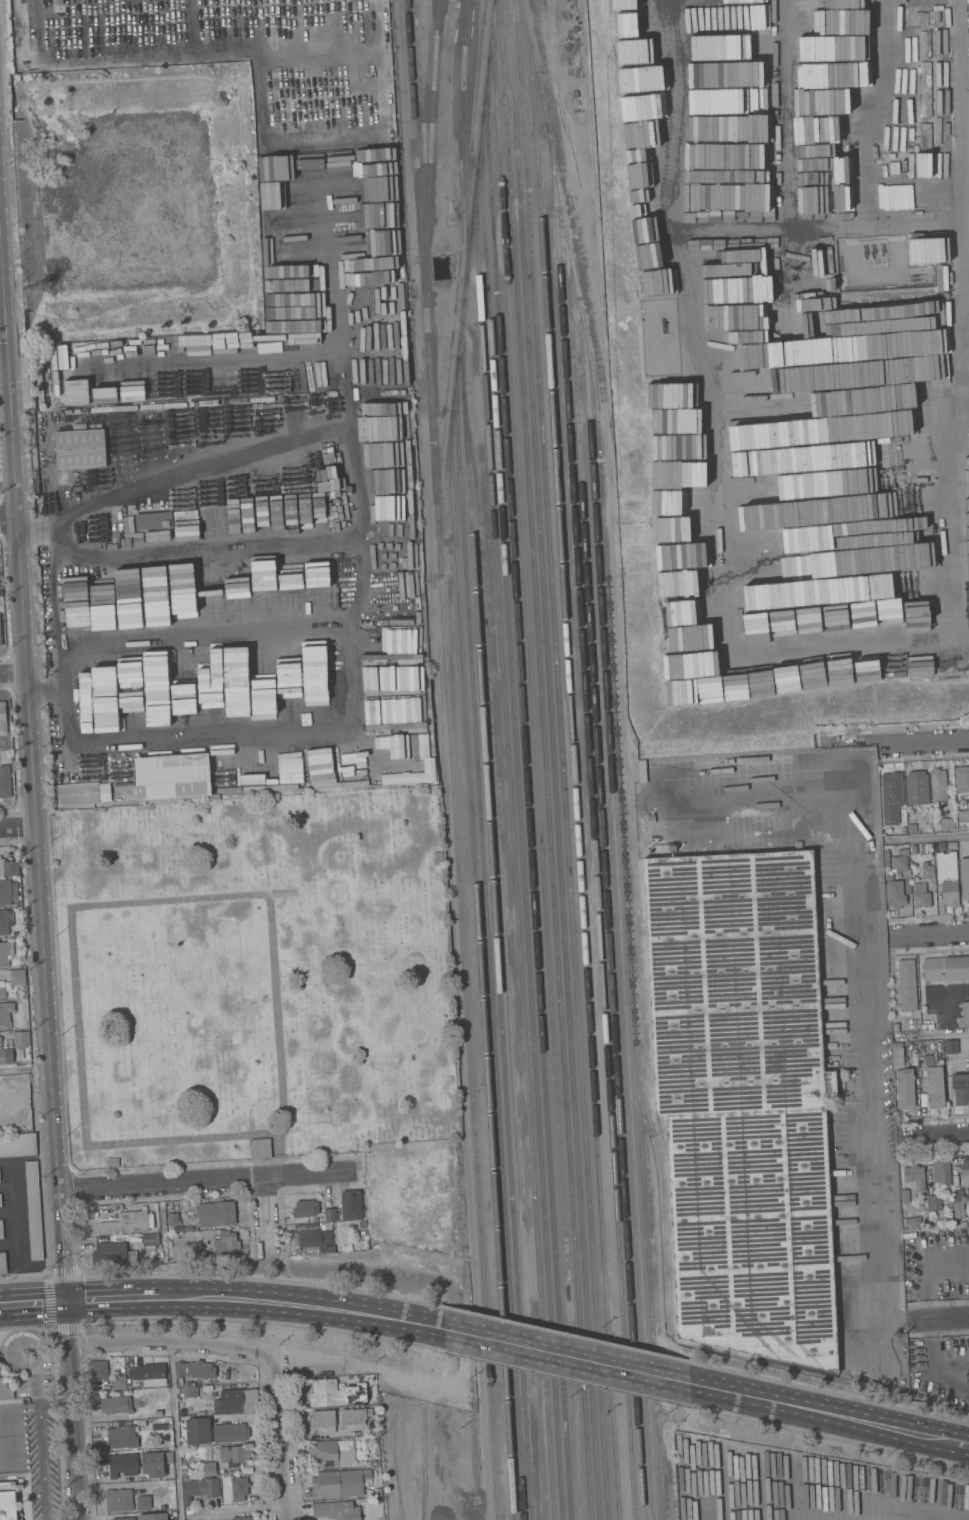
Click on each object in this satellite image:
building: (617, 4)
railway: (468, 13)
building: (936, 16)
building: (921, 18)
railway: (423, 96)
railway: (430, 137)
railway: (465, 139)
railway: (466, 288)
road: (336, 300)
road: (4, 364)
building: (213, 386)
building: (814, 393)
building: (80, 448)
building: (804, 476)
road: (8, 519)
building: (153, 520)
road: (208, 549)
building: (314, 589)
railway: (530, 628)
building: (0, 634)
road: (205, 640)
road: (348, 654)
road: (8, 672)
road: (13, 673)
road: (46, 686)
building: (3, 718)
road: (924, 741)
road: (13, 749)
railway: (619, 757)
railway: (563, 759)
railway: (453, 760)
railway: (547, 760)
road: (31, 766)
railway: (575, 769)
railway: (556, 771)
building: (172, 774)
building: (962, 779)
building: (4, 781)
building: (938, 784)
railway: (528, 788)
building: (918, 792)
building: (82, 793)
railway: (498, 795)
building: (890, 797)
building: (963, 815)
railway: (521, 817)
building: (946, 823)
road: (17, 826)
road: (17, 828)
railway: (594, 829)
road: (929, 837)
railway: (514, 844)
building: (952, 846)
building: (924, 849)
building: (914, 850)
railway: (606, 862)
building: (11, 867)
building: (925, 870)
building: (889, 877)
building: (947, 877)
building: (964, 877)
building: (8, 892)
building: (921, 895)
road: (95, 904)
railway: (496, 908)
railway: (621, 914)
building: (5, 921)
road: (939, 934)
railway: (489, 938)
building: (4, 953)
railway: (482, 966)
building: (946, 968)
road: (860, 974)
building: (18, 977)
park: (254, 977)
building: (907, 985)
building: (2, 989)
building: (5, 1014)
building: (964, 1014)
building: (929, 1020)
building: (895, 1026)
road: (933, 1036)
building: (22, 1039)
building: (950, 1046)
building: (5, 1054)
building: (903, 1079)
road: (34, 1083)
building: (935, 1087)
building: (960, 1088)
building: (743, 1100)
road: (937, 1134)
building: (18, 1145)
building: (259, 1145)
building: (965, 1171)
building: (941, 1174)
building: (915, 1175)
road: (205, 1180)
railway: (666, 1191)
building: (905, 1196)
building: (0, 1199)
building: (934, 1201)
building: (958, 1203)
building: (352, 1205)
building: (305, 1208)
building: (32, 1210)
building: (216, 1213)
road: (263, 1214)
building: (330, 1214)
building: (968, 1218)
building: (173, 1219)
building: (315, 1219)
building: (161, 1220)
building: (925, 1222)
building: (126, 1223)
building: (914, 1223)
building: (362, 1224)
building: (1, 1229)
building: (362, 1231)
building: (314, 1236)
building: (150, 1240)
building: (226, 1244)
building: (113, 1252)
building: (203, 1255)
building: (2, 1261)
road: (925, 1273)
road: (269, 1276)
road: (48, 1297)
road: (114, 1299)
traffic signals: (66, 1301)
road: (32, 1303)
road: (303, 1307)
road: (937, 1320)
road: (262, 1325)
road: (577, 1335)
road: (7, 1336)
road: (170, 1340)
road: (284, 1342)
road: (568, 1358)
road: (34, 1361)
building: (1, 1364)
building: (97, 1370)
building: (194, 1370)
building: (148, 1371)
road: (573, 1380)
building: (118, 1382)
road: (33, 1384)
building: (5, 1389)
building: (188, 1391)
road: (835, 1391)
building: (336, 1393)
road: (55, 1398)
building: (237, 1400)
building: (116, 1405)
road: (71, 1410)
building: (158, 1412)
road: (829, 1416)
building: (355, 1417)
building: (324, 1420)
building: (156, 1424)
park: (27, 1428)
road: (174, 1430)
building: (198, 1431)
building: (230, 1432)
building: (121, 1436)
road: (276, 1437)
park: (10, 1438)
road: (835, 1440)
road: (39, 1445)
road: (966, 1445)
building: (332, 1453)
building: (232, 1455)
building: (371, 1462)
building: (152, 1464)
building: (122, 1465)
railway: (666, 1467)
building: (209, 1468)
building: (339, 1483)
building: (199, 1488)
building: (239, 1488)
building: (378, 1491)
building: (119, 1500)
building: (8, 1501)
building: (143, 1502)
building: (336, 1510)
building: (152, 1516)
building: (123, 1518)
building: (243, 1518)

